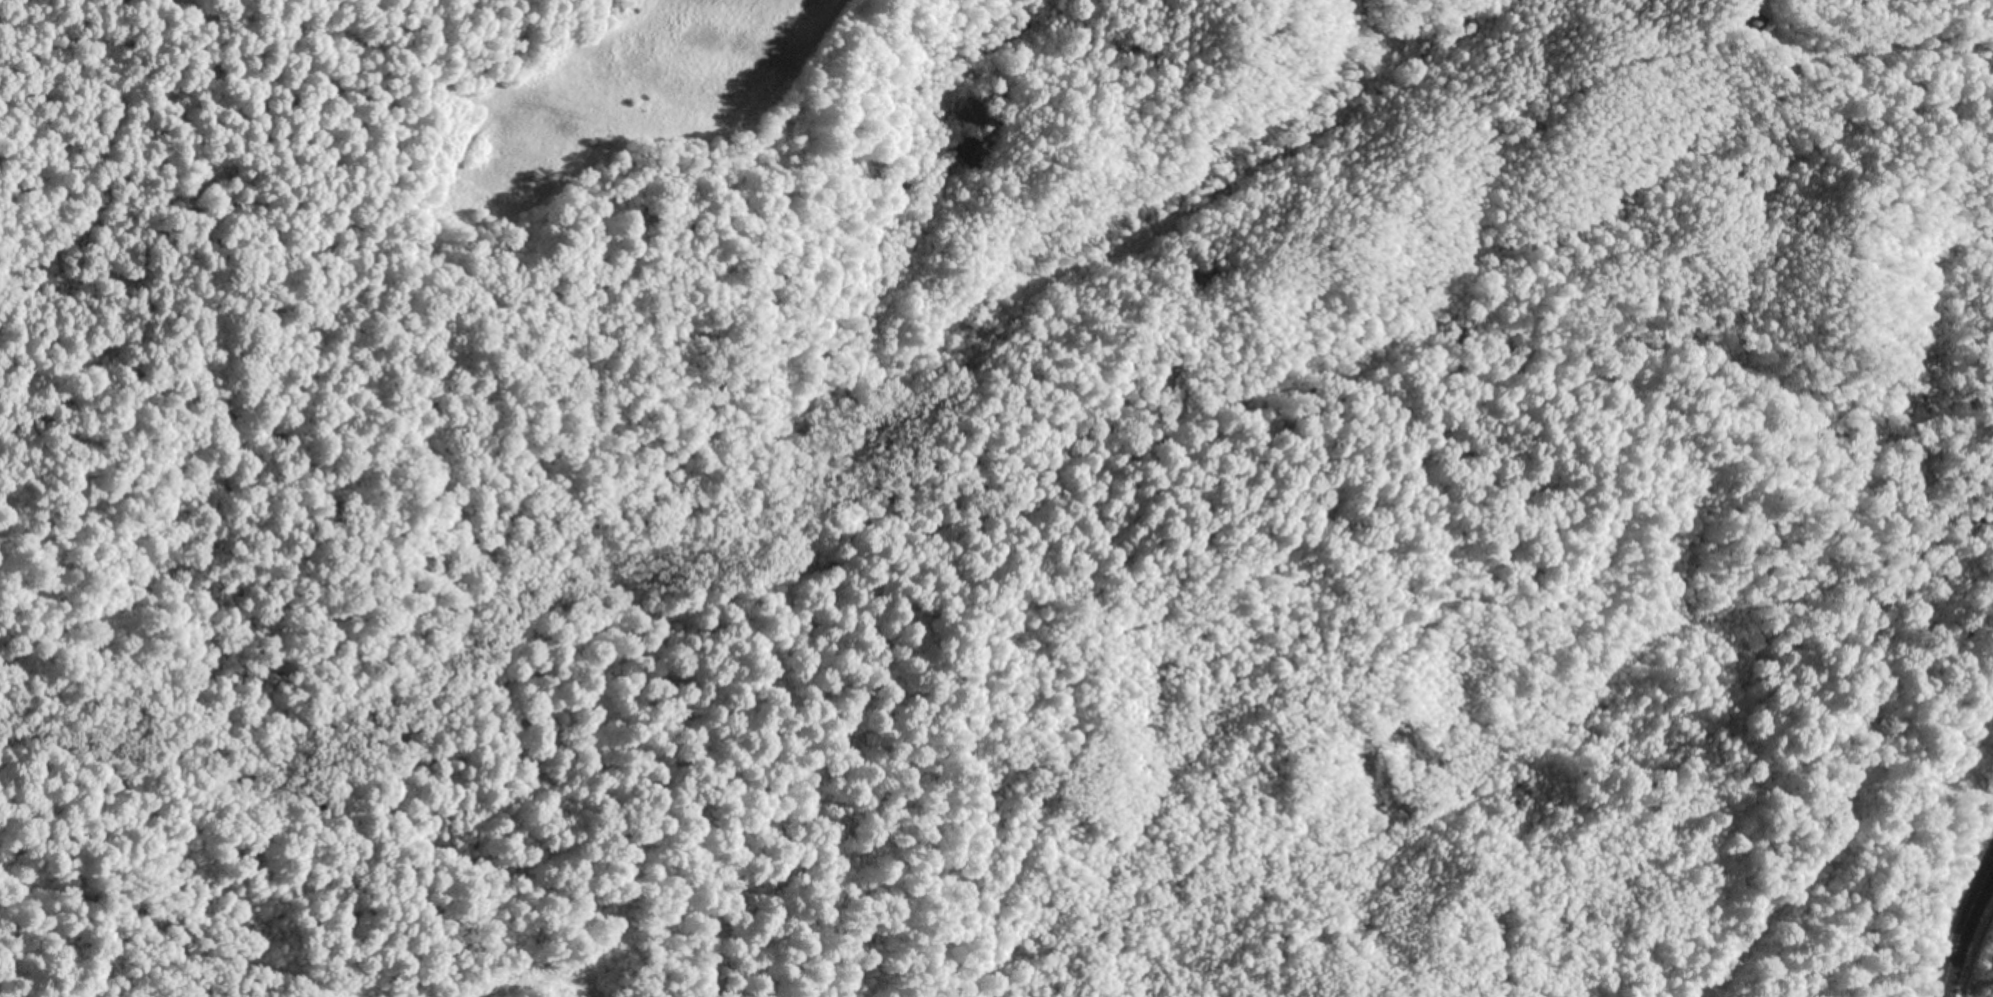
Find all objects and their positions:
building: (1752, 21)
road: (1967, 932)

